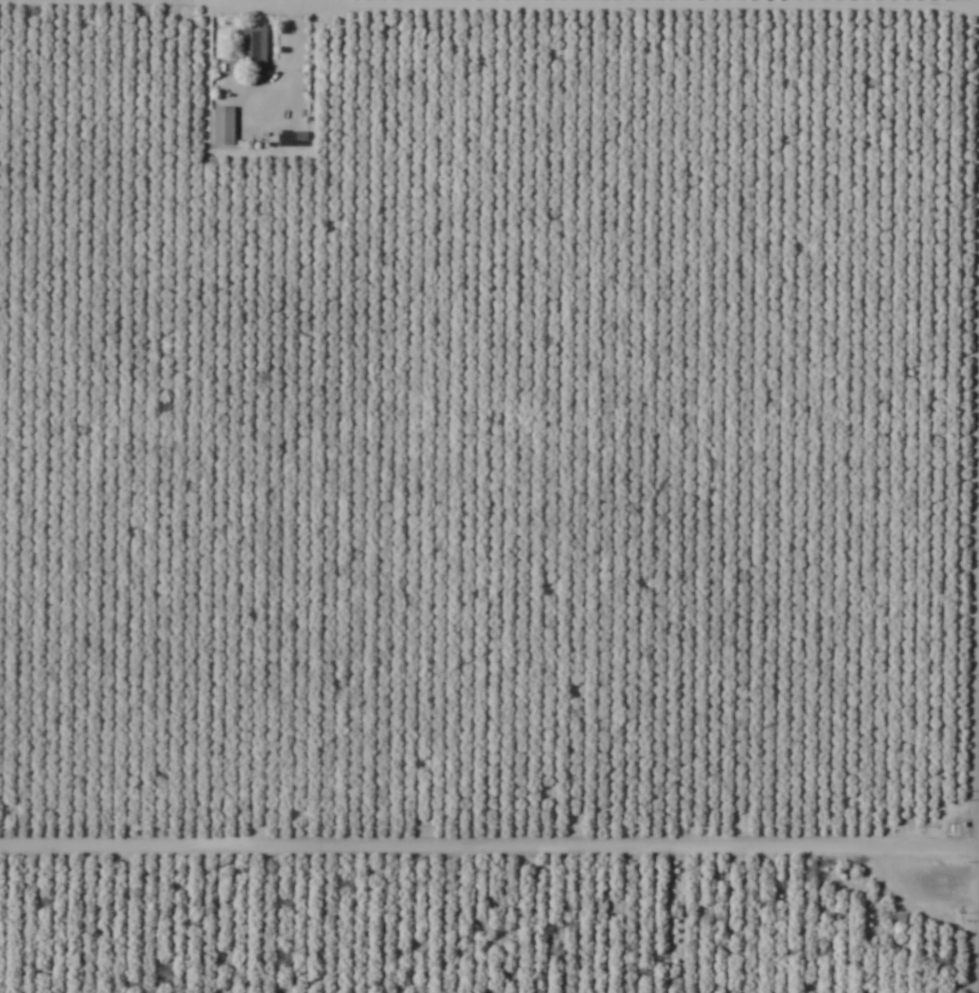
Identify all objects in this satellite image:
building: (252, 47)
road: (295, 63)
building: (222, 126)
crop: (489, 496)
road: (489, 820)

